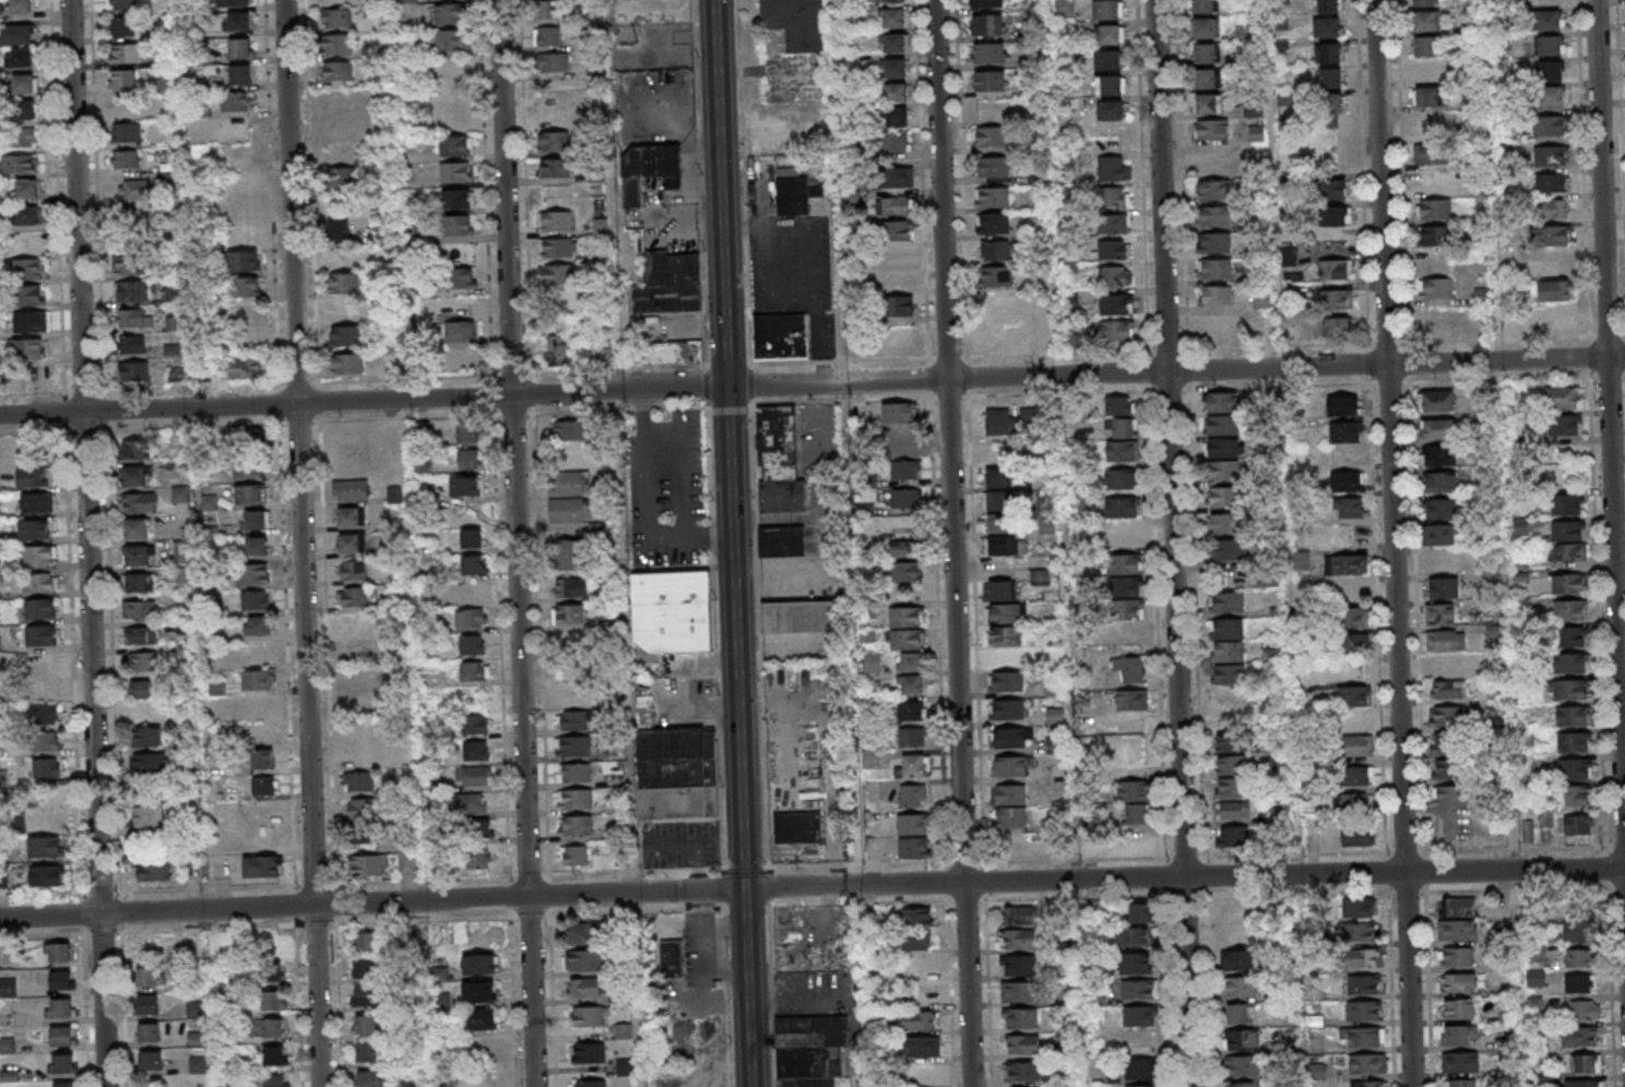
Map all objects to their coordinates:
building: (331, 0)
building: (889, 0)
building: (1549, 1)
building: (237, 3)
building: (986, 3)
building: (1423, 3)
building: (123, 4)
building: (1325, 5)
building: (21, 7)
building: (1064, 7)
building: (1202, 7)
building: (1107, 9)
building: (546, 11)
building: (450, 13)
building: (893, 17)
building: (335, 19)
building: (1550, 20)
building: (238, 23)
building: (796, 23)
building: (1425, 23)
building: (987, 24)
building: (124, 27)
building: (1326, 27)
building: (1205, 28)
building: (1108, 34)
building: (16, 36)
building: (547, 37)
building: (452, 39)
building: (893, 41)
building: (336, 45)
building: (1550, 45)
building: (1425, 47)
building: (240, 49)
building: (988, 52)
building: (1205, 52)
building: (1328, 52)
building: (127, 55)
building: (194, 55)
building: (20, 58)
building: (1107, 60)
building: (553, 63)
building: (892, 68)
building: (336, 70)
building: (1550, 70)
building: (1425, 71)
building: (240, 75)
building: (1206, 77)
building: (1329, 79)
building: (989, 80)
building: (123, 81)
building: (24, 83)
building: (166, 84)
building: (1110, 85)
building: (895, 92)
building: (1552, 95)
building: (1428, 97)
building: (235, 103)
building: (1208, 103)
building: (1253, 108)
building: (1110, 109)
building: (1329, 109)
building: (25, 110)
building: (553, 116)
building: (895, 117)
building: (1430, 124)
building: (1549, 124)
building: (1212, 129)
building: (126, 132)
building: (25, 136)
building: (989, 136)
building: (553, 142)
building: (895, 142)
building: (455, 145)
building: (772, 145)
building: (1431, 155)
building: (1550, 155)
building: (126, 159)
building: (19, 164)
building: (994, 166)
building: (555, 167)
building: (1113, 167)
building: (455, 171)
building: (341, 177)
building: (897, 177)
building: (1551, 182)
building: (26, 188)
building: (1331, 188)
building: (134, 189)
building: (1214, 191)
building: (793, 195)
building: (1116, 195)
building: (993, 198)
building: (458, 199)
road: (293, 202)
road: (82, 205)
building: (897, 205)
building: (1553, 210)
building: (1434, 211)
building: (26, 215)
building: (1333, 215)
building: (1213, 217)
building: (556, 220)
building: (993, 223)
building: (1112, 224)
building: (458, 225)
building: (601, 226)
building: (339, 230)
building: (659, 230)
building: (899, 231)
building: (1436, 236)
building: (1554, 236)
building: (1214, 242)
building: (558, 248)
building: (995, 250)
building: (1112, 250)
building: (339, 256)
building: (898, 258)
building: (244, 260)
building: (1554, 262)
building: (129, 265)
building: (25, 268)
building: (1215, 268)
building: (1335, 268)
building: (558, 274)
building: (994, 276)
building: (1113, 276)
building: (460, 277)
building: (905, 279)
building: (344, 282)
building: (244, 286)
building: (1436, 288)
building: (131, 290)
building: (1554, 290)
building: (31, 295)
building: (1217, 295)
building: (1336, 299)
building: (1116, 304)
building: (900, 307)
building: (343, 309)
building: (1555, 316)
building: (132, 318)
building: (28, 321)
building: (1337, 327)
building: (461, 331)
building: (1115, 332)
building: (346, 335)
building: (780, 337)
building: (1075, 342)
building: (131, 345)
building: (28, 349)
building: (556, 351)
building: (674, 353)
building: (603, 358)
building: (347, 363)
road: (1613, 366)
building: (246, 369)
building: (134, 372)
building: (176, 374)
road: (960, 378)
building: (1562, 396)
building: (1436, 402)
building: (1342, 405)
road: (147, 408)
building: (898, 413)
building: (1222, 414)
building: (1120, 416)
building: (1000, 423)
building: (1566, 425)
building: (568, 430)
building: (1438, 430)
building: (1344, 431)
building: (467, 432)
building: (902, 435)
road: (850, 442)
road: (728, 443)
building: (135, 449)
building: (1227, 449)
building: (1123, 451)
building: (1438, 456)
building: (468, 458)
building: (780, 459)
building: (249, 470)
building: (905, 470)
building: (133, 476)
building: (34, 477)
building: (997, 479)
building: (1119, 479)
building: (1348, 481)
building: (1440, 481)
building: (568, 483)
building: (467, 486)
building: (1231, 487)
building: (349, 490)
building: (250, 494)
building: (905, 500)
building: (999, 501)
building: (36, 502)
building: (138, 502)
building: (1566, 503)
building: (1120, 506)
building: (1350, 506)
building: (1442, 507)
building: (569, 510)
road: (643, 510)
building: (349, 517)
building: (254, 521)
building: (1001, 523)
building: (1231, 525)
building: (135, 528)
building: (1567, 529)
building: (38, 530)
building: (1442, 534)
building: (1123, 535)
building: (472, 538)
building: (782, 540)
road: (629, 542)
road: (716, 542)
road: (958, 542)
road: (1179, 542)
road: (1397, 542)
road: (518, 543)
building: (257, 546)
building: (1001, 546)
building: (357, 547)
building: (903, 549)
building: (1567, 551)
building: (135, 554)
building: (569, 556)
building: (41, 559)
building: (1231, 560)
building: (1301, 561)
building: (1440, 561)
building: (472, 564)
building: (1123, 564)
building: (1345, 564)
building: (358, 572)
building: (910, 573)
building: (253, 574)
building: (1040, 577)
building: (139, 583)
building: (44, 584)
building: (1568, 584)
building: (1127, 586)
building: (570, 588)
building: (1443, 588)
building: (1353, 589)
building: (473, 590)
building: (998, 590)
building: (359, 599)
building: (254, 600)
building: (1226, 602)
building: (139, 609)
building: (1128, 609)
building: (1570, 609)
building: (43, 611)
building: (1006, 612)
building: (1438, 613)
building: (569, 616)
building: (676, 616)
building: (803, 616)
building: (472, 617)
building: (906, 617)
building: (1355, 617)
building: (352, 621)
building: (258, 626)
building: (1226, 629)
building: (40, 634)
building: (143, 634)
building: (1005, 635)
building: (1574, 635)
building: (906, 640)
building: (1445, 640)
building: (1354, 643)
building: (472, 644)
building: (353, 648)
building: (1227, 652)
building: (258, 654)
road: (308, 655)
building: (1006, 658)
building: (144, 660)
building: (43, 661)
road: (97, 662)
building: (910, 662)
building: (1446, 662)
building: (1569, 662)
building: (873, 664)
building: (1129, 668)
building: (475, 670)
building: (1229, 676)
building: (356, 677)
building: (1006, 682)
building: (262, 683)
building: (911, 684)
building: (45, 688)
building: (140, 689)
building: (1446, 690)
building: (1569, 690)
building: (571, 694)
building: (1353, 695)
building: (1131, 700)
building: (249, 705)
building: (1008, 709)
building: (911, 710)
building: (44, 713)
building: (1571, 715)
building: (1447, 718)
building: (574, 720)
building: (477, 725)
building: (912, 737)
building: (1010, 738)
building: (46, 741)
building: (1446, 741)
building: (1574, 741)
building: (152, 742)
building: (1227, 743)
building: (1357, 744)
building: (574, 745)
building: (476, 751)
building: (262, 760)
building: (1528, 764)
building: (914, 766)
building: (1012, 766)
building: (1231, 766)
building: (47, 767)
building: (151, 767)
building: (1575, 768)
building: (1447, 769)
building: (576, 772)
building: (676, 772)
building: (1356, 776)
building: (478, 779)
building: (364, 784)
building: (263, 786)
building: (1232, 789)
building: (913, 795)
building: (1009, 795)
building: (1574, 796)
building: (1449, 797)
building: (576, 799)
building: (1135, 802)
building: (1353, 802)
building: (473, 803)
building: (360, 809)
building: (262, 811)
building: (1233, 812)
building: (150, 816)
building: (1010, 817)
building: (914, 823)
building: (1578, 824)
building: (577, 825)
building: (478, 829)
building: (1527, 831)
building: (796, 833)
building: (359, 836)
building: (265, 837)
building: (1355, 837)
building: (1232, 838)
building: (46, 846)
building: (915, 847)
building: (576, 855)
building: (478, 859)
building: (406, 862)
building: (261, 865)
building: (367, 867)
building: (153, 870)
building: (46, 875)
road: (972, 882)
building: (1456, 906)
building: (1357, 907)
building: (1236, 910)
road: (159, 911)
building: (1139, 913)
building: (914, 917)
building: (1019, 917)
building: (1457, 929)
building: (1360, 931)
building: (1578, 931)
building: (580, 933)
building: (1132, 937)
building: (915, 940)
building: (1018, 940)
building: (194, 941)
building: (367, 942)
building: (147, 948)
building: (60, 952)
building: (1538, 952)
building: (1455, 956)
building: (270, 957)
building: (1363, 957)
building: (1579, 957)
building: (583, 959)
building: (672, 959)
building: (1237, 959)
building: (478, 964)
building: (1136, 964)
building: (923, 966)
building: (1018, 966)
building: (365, 968)
building: (439, 973)
building: (150, 977)
building: (1535, 978)
building: (60, 979)
building: (1458, 982)
building: (1580, 983)
building: (1363, 984)
road: (858, 987)
building: (1238, 987)
building: (8, 988)
building: (583, 988)
road: (747, 988)
building: (1138, 991)
building: (478, 992)
building: (1018, 993)
road: (323, 996)
building: (364, 996)
road: (107, 1001)
building: (272, 1001)
building: (146, 1004)
building: (59, 1007)
building: (1460, 1008)
building: (193, 1010)
building: (1364, 1010)
building: (1585, 1010)
building: (1238, 1014)
building: (590, 1016)
building: (1138, 1017)
building: (479, 1019)
building: (1021, 1019)
building: (921, 1020)
building: (366, 1025)
building: (269, 1028)
building: (624, 1031)
building: (149, 1032)
building: (61, 1035)
building: (1458, 1035)
building: (1579, 1036)
building: (1362, 1037)
building: (1243, 1040)
building: (1022, 1044)
building: (922, 1047)
building: (810, 1050)
building: (367, 1052)
building: (588, 1052)
building: (274, 1055)
building: (151, 1060)
building: (1459, 1062)
building: (61, 1063)
building: (1367, 1063)
building: (1585, 1063)
building: (198, 1065)
building: (1243, 1066)
building: (1141, 1068)
building: (1022, 1071)
building: (368, 1078)
building: (274, 1080)
building: (590, 1083)
building: (1367, 1083)
building: (1460, 1083)
building: (1582, 1083)
building: (61, 1085)
building: (1243, 1085)
building: (1142, 1086)

